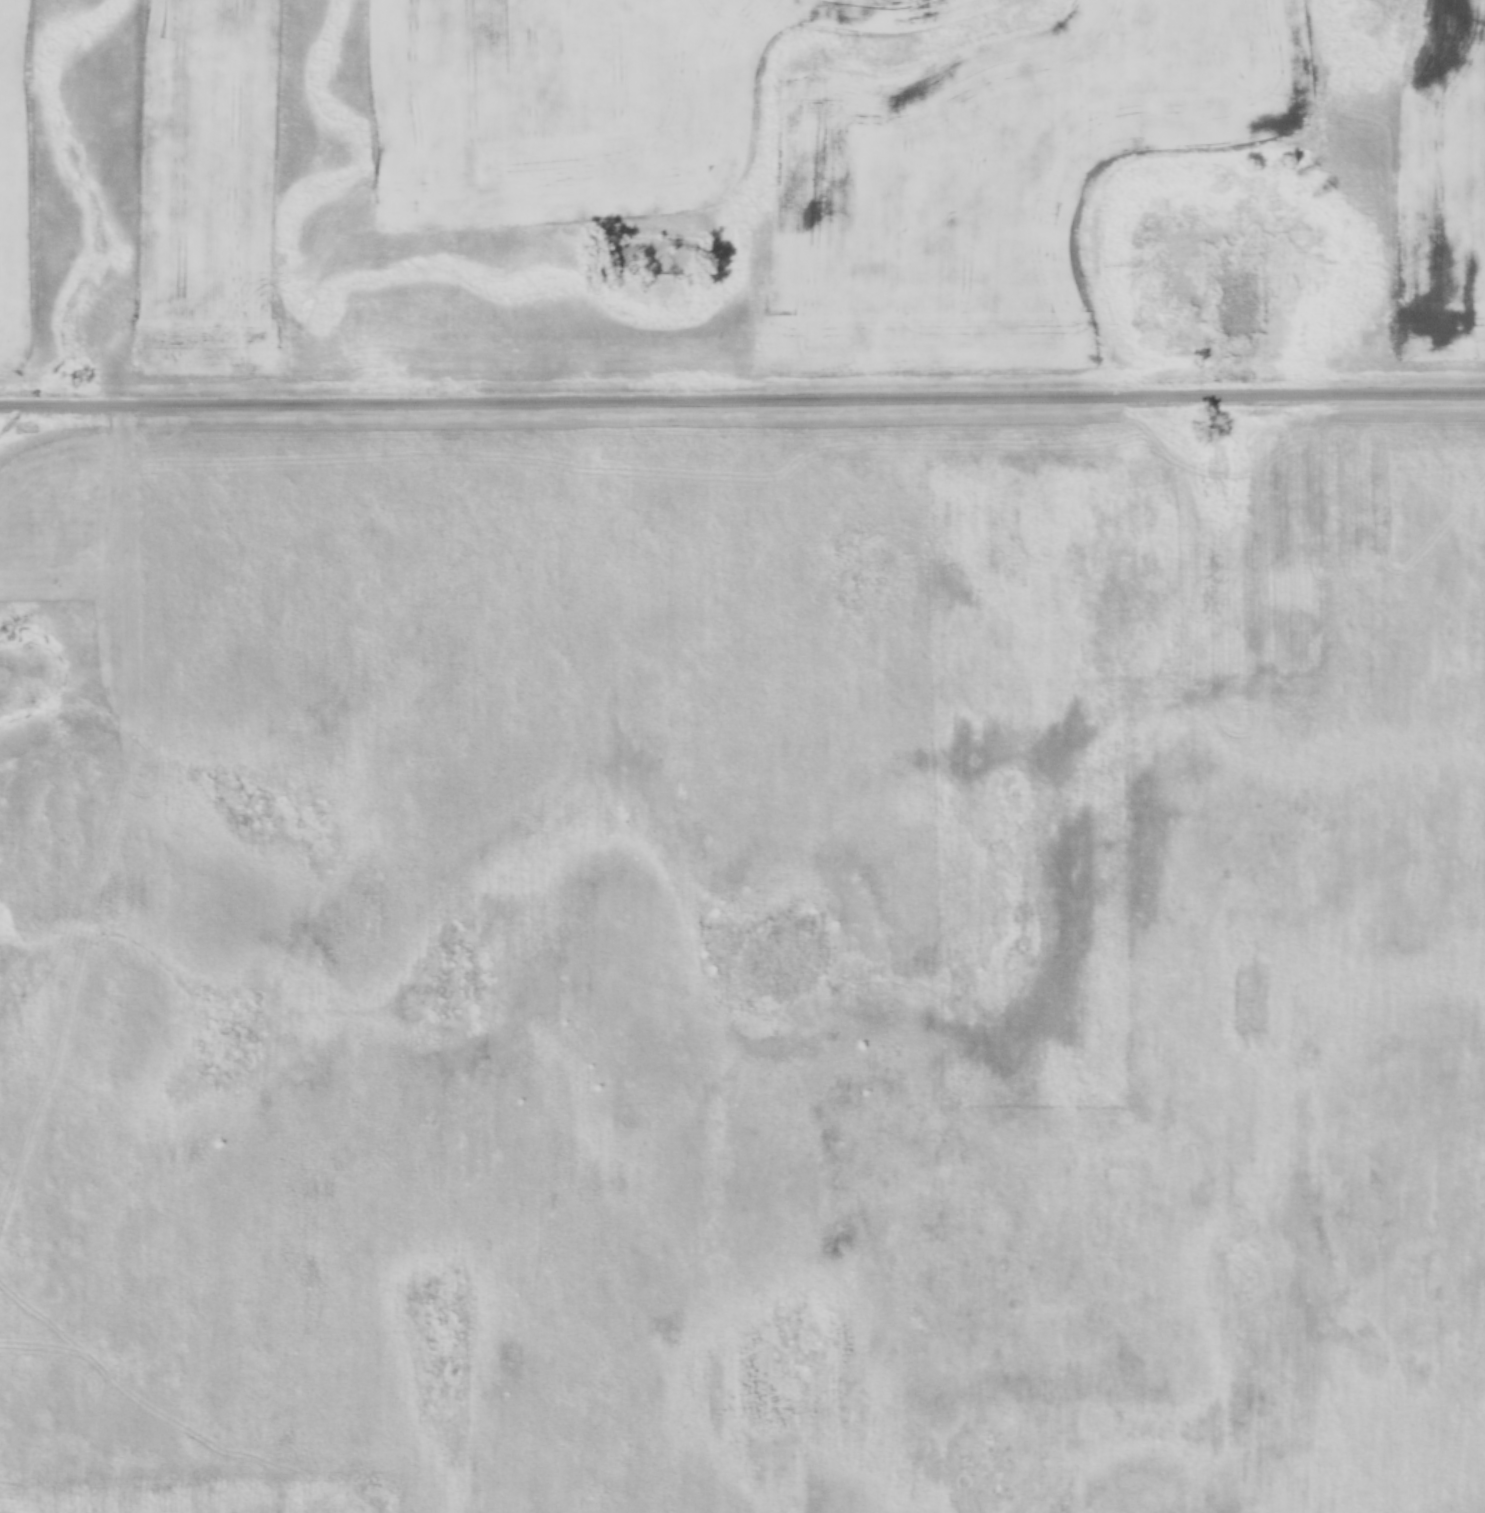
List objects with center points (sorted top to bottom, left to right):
road: (742, 395)

